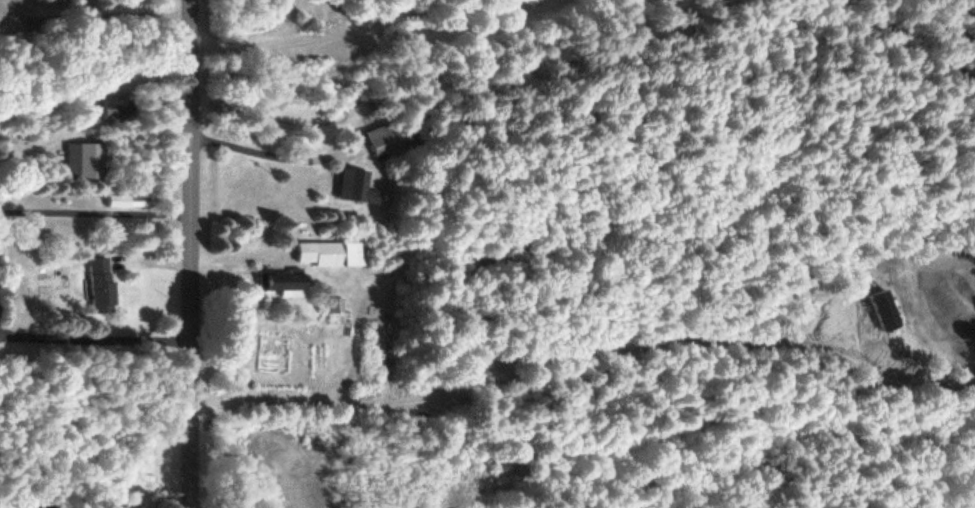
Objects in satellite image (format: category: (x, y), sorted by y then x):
road: (97, 19)
road: (388, 33)
building: (147, 102)
road: (102, 106)
building: (113, 109)
building: (376, 141)
building: (81, 162)
building: (352, 189)
road: (119, 196)
road: (195, 254)
road: (129, 258)
building: (261, 269)
building: (97, 285)
building: (333, 306)
road: (157, 458)
building: (122, 507)

